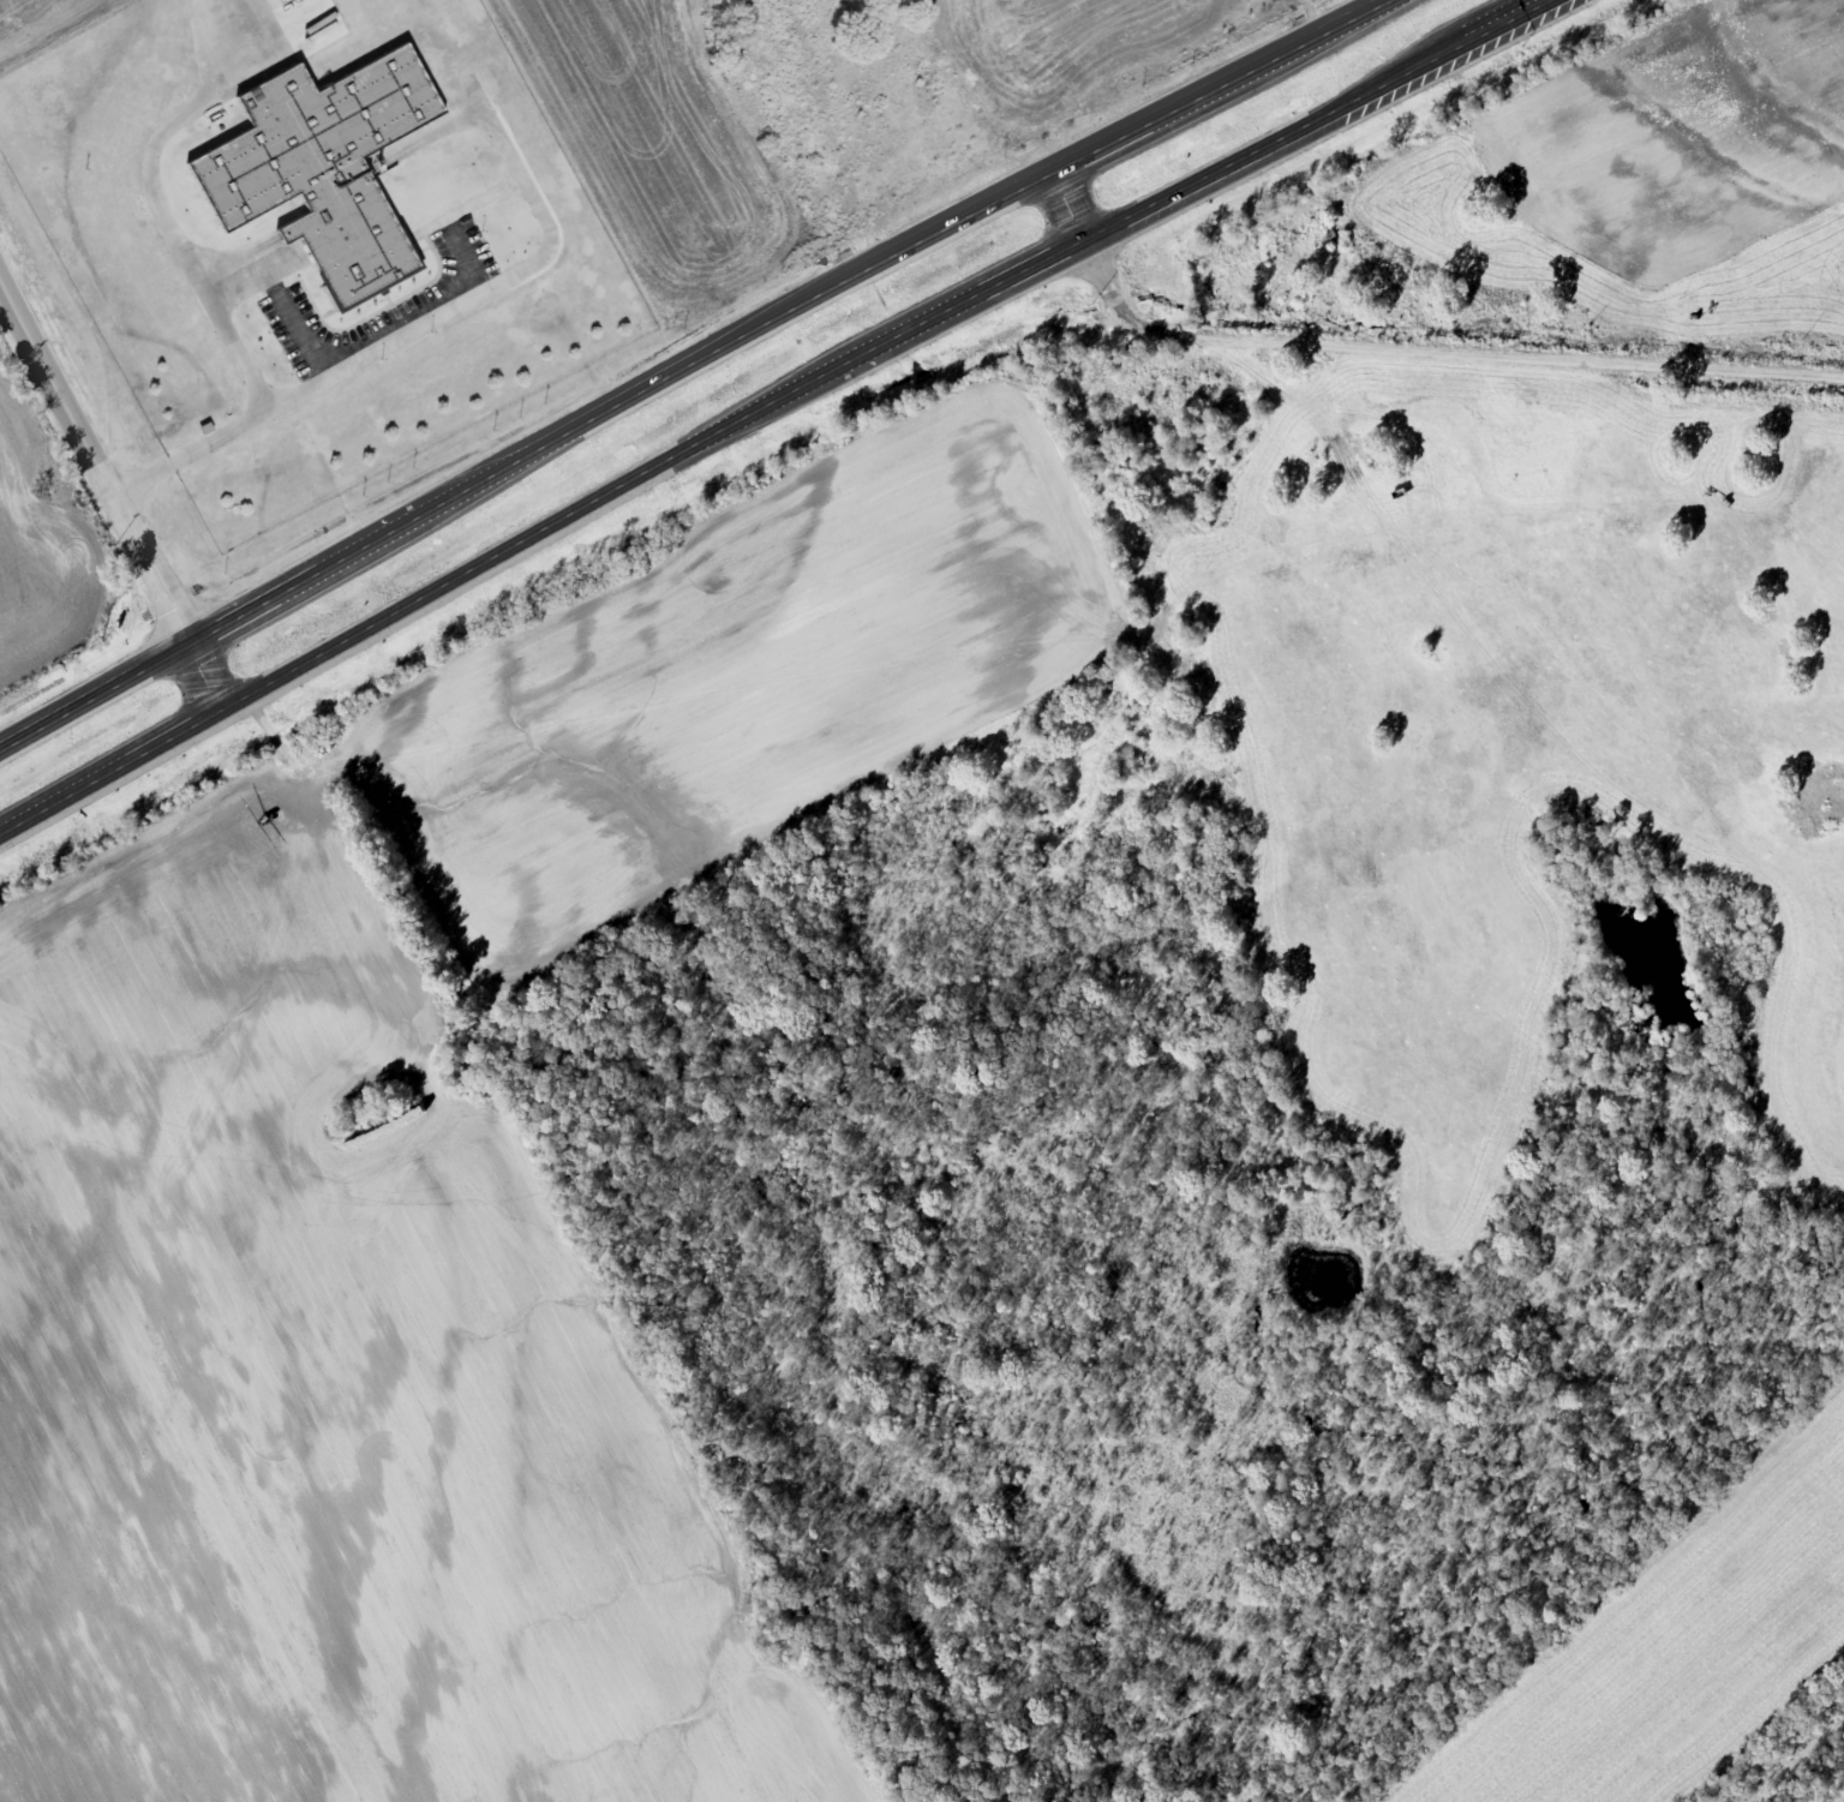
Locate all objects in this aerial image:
building: (325, 166)
road: (1071, 199)
road: (687, 364)
road: (767, 402)
road: (110, 497)
railway: (1790, 1754)

